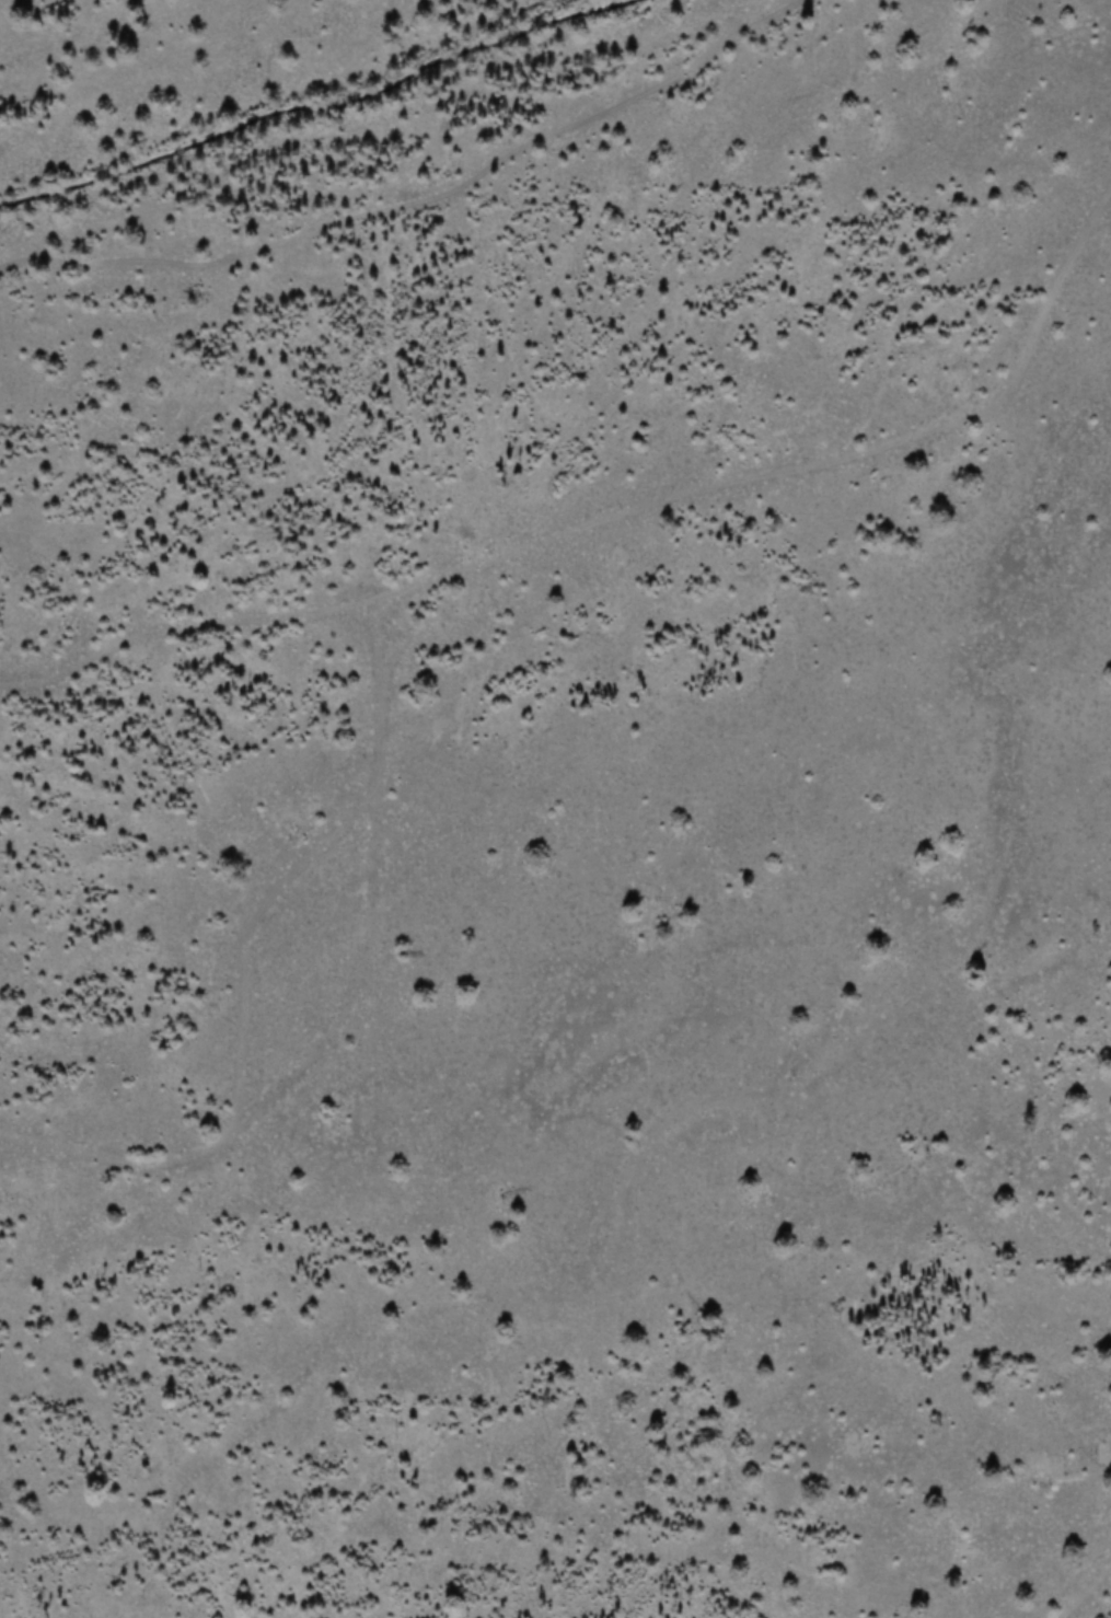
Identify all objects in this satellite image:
road: (524, 213)
road: (19, 1498)

